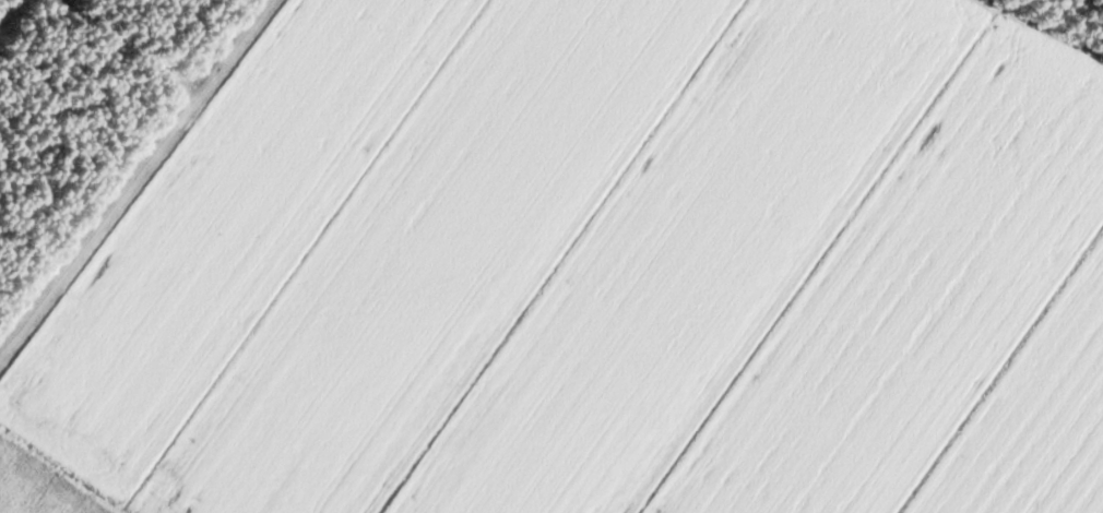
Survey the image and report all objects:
road: (182, 56)
road: (69, 64)
road: (90, 236)

